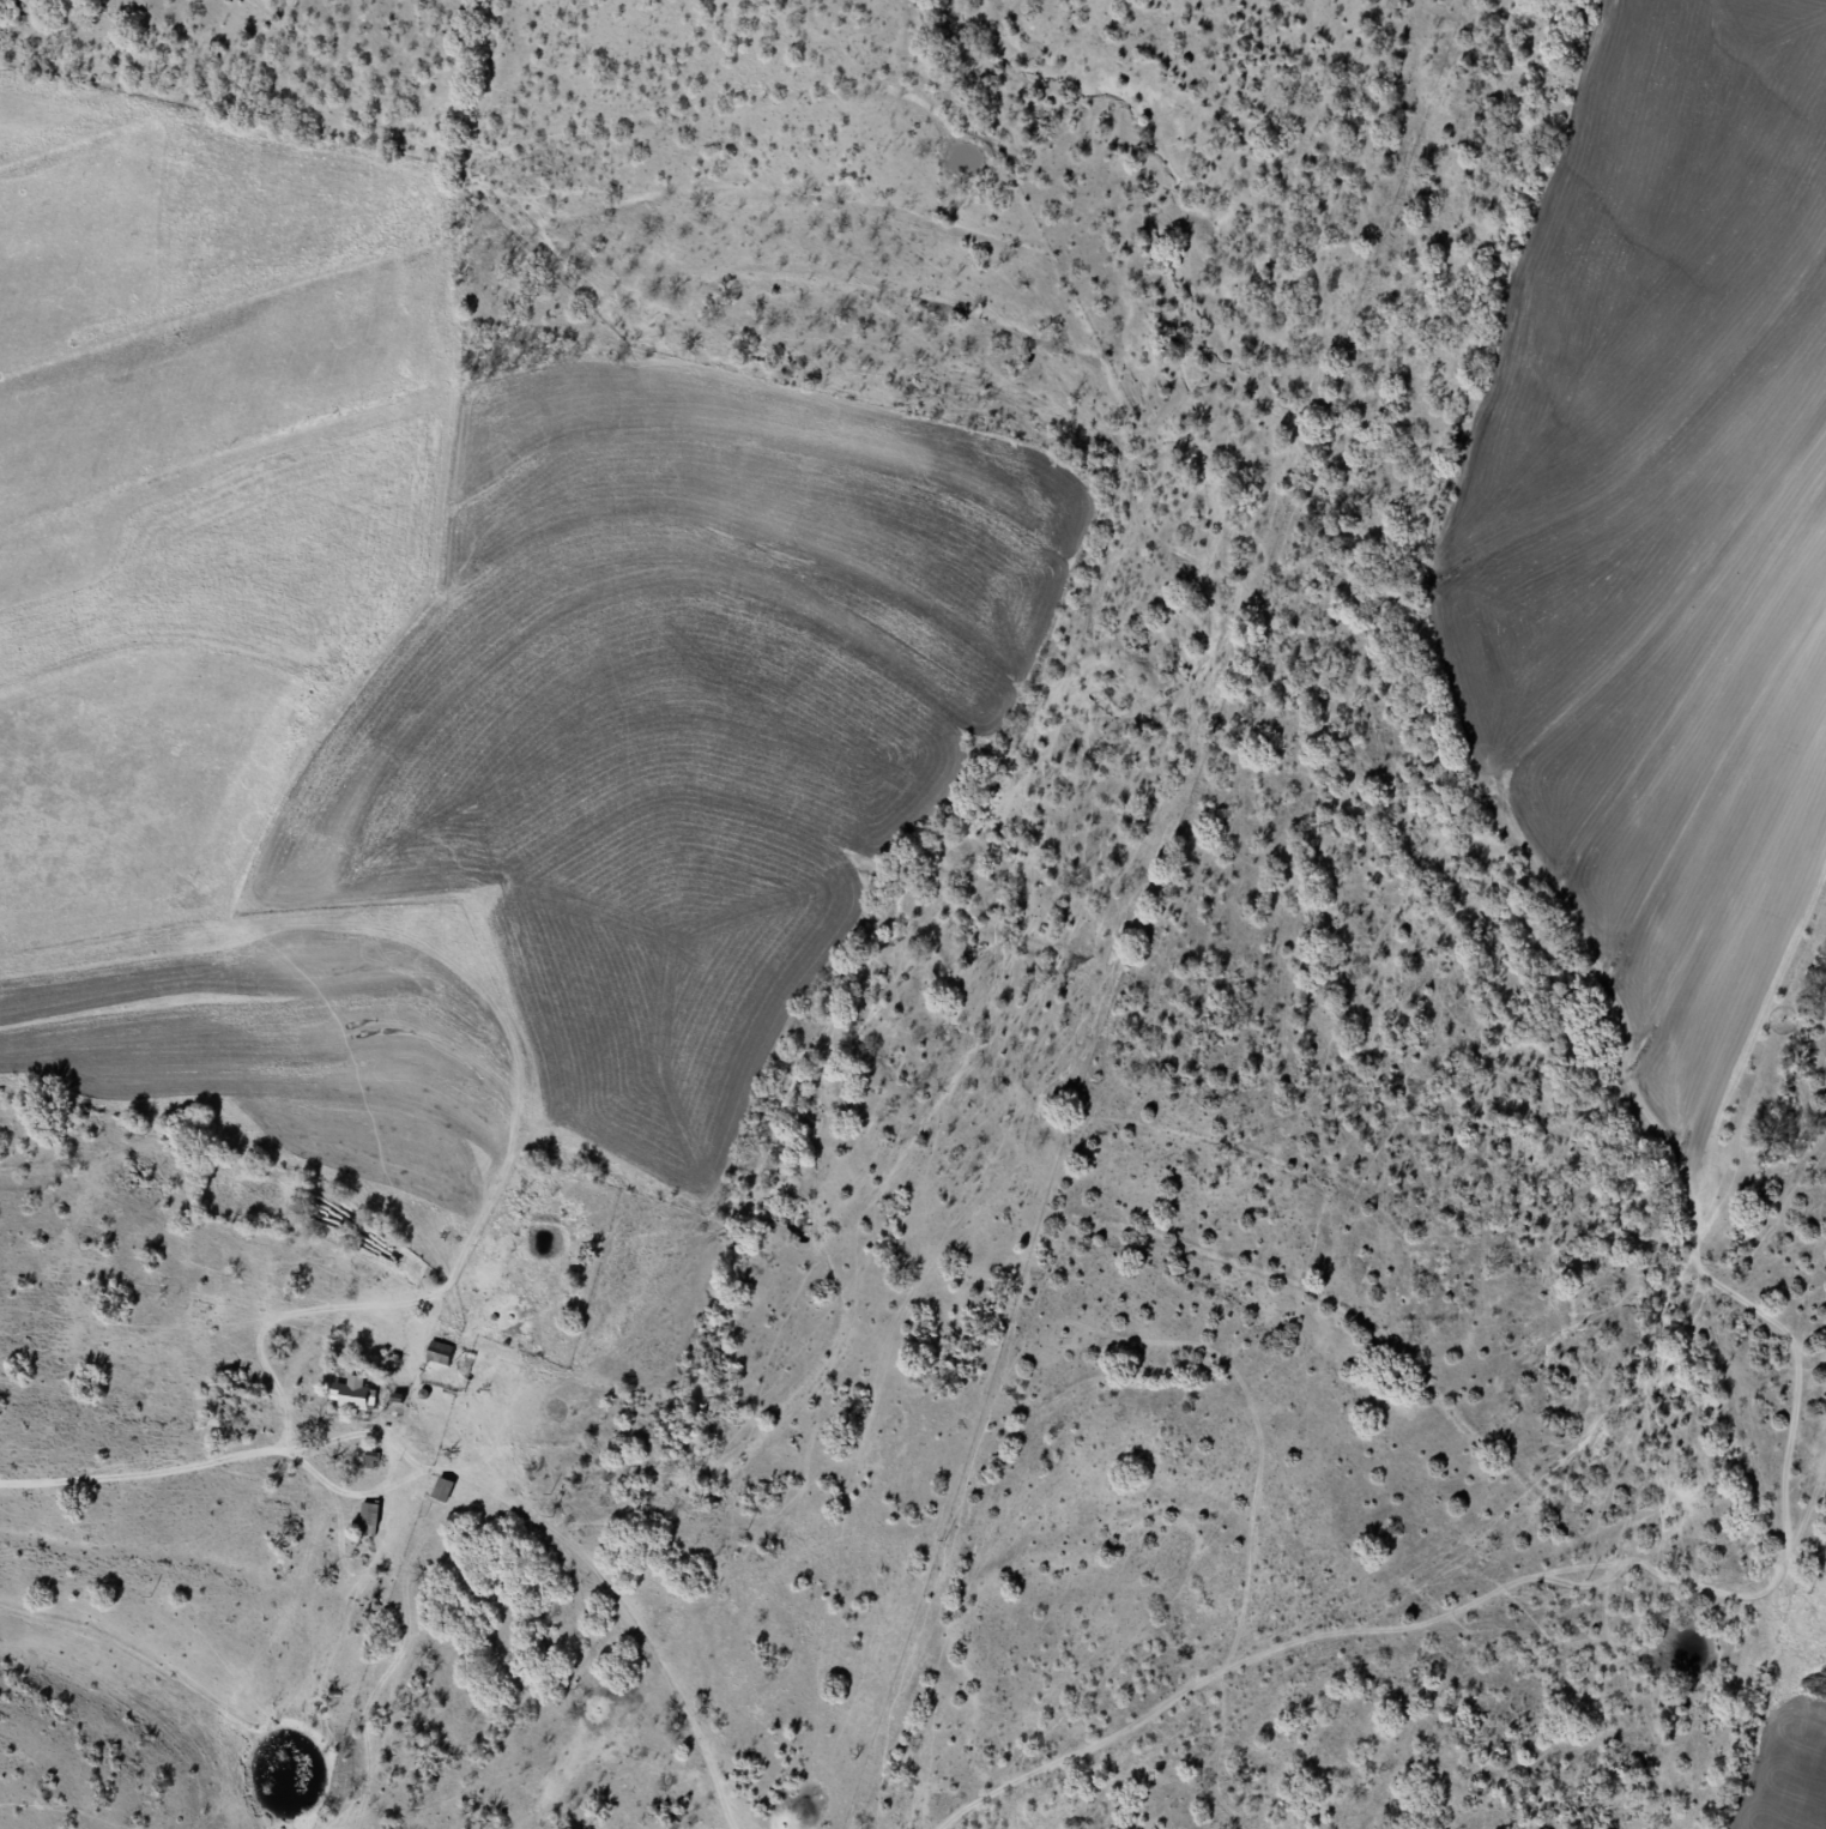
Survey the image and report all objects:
building: (441, 1353)
building: (356, 1394)
road: (128, 1437)
building: (445, 1490)
building: (371, 1517)

